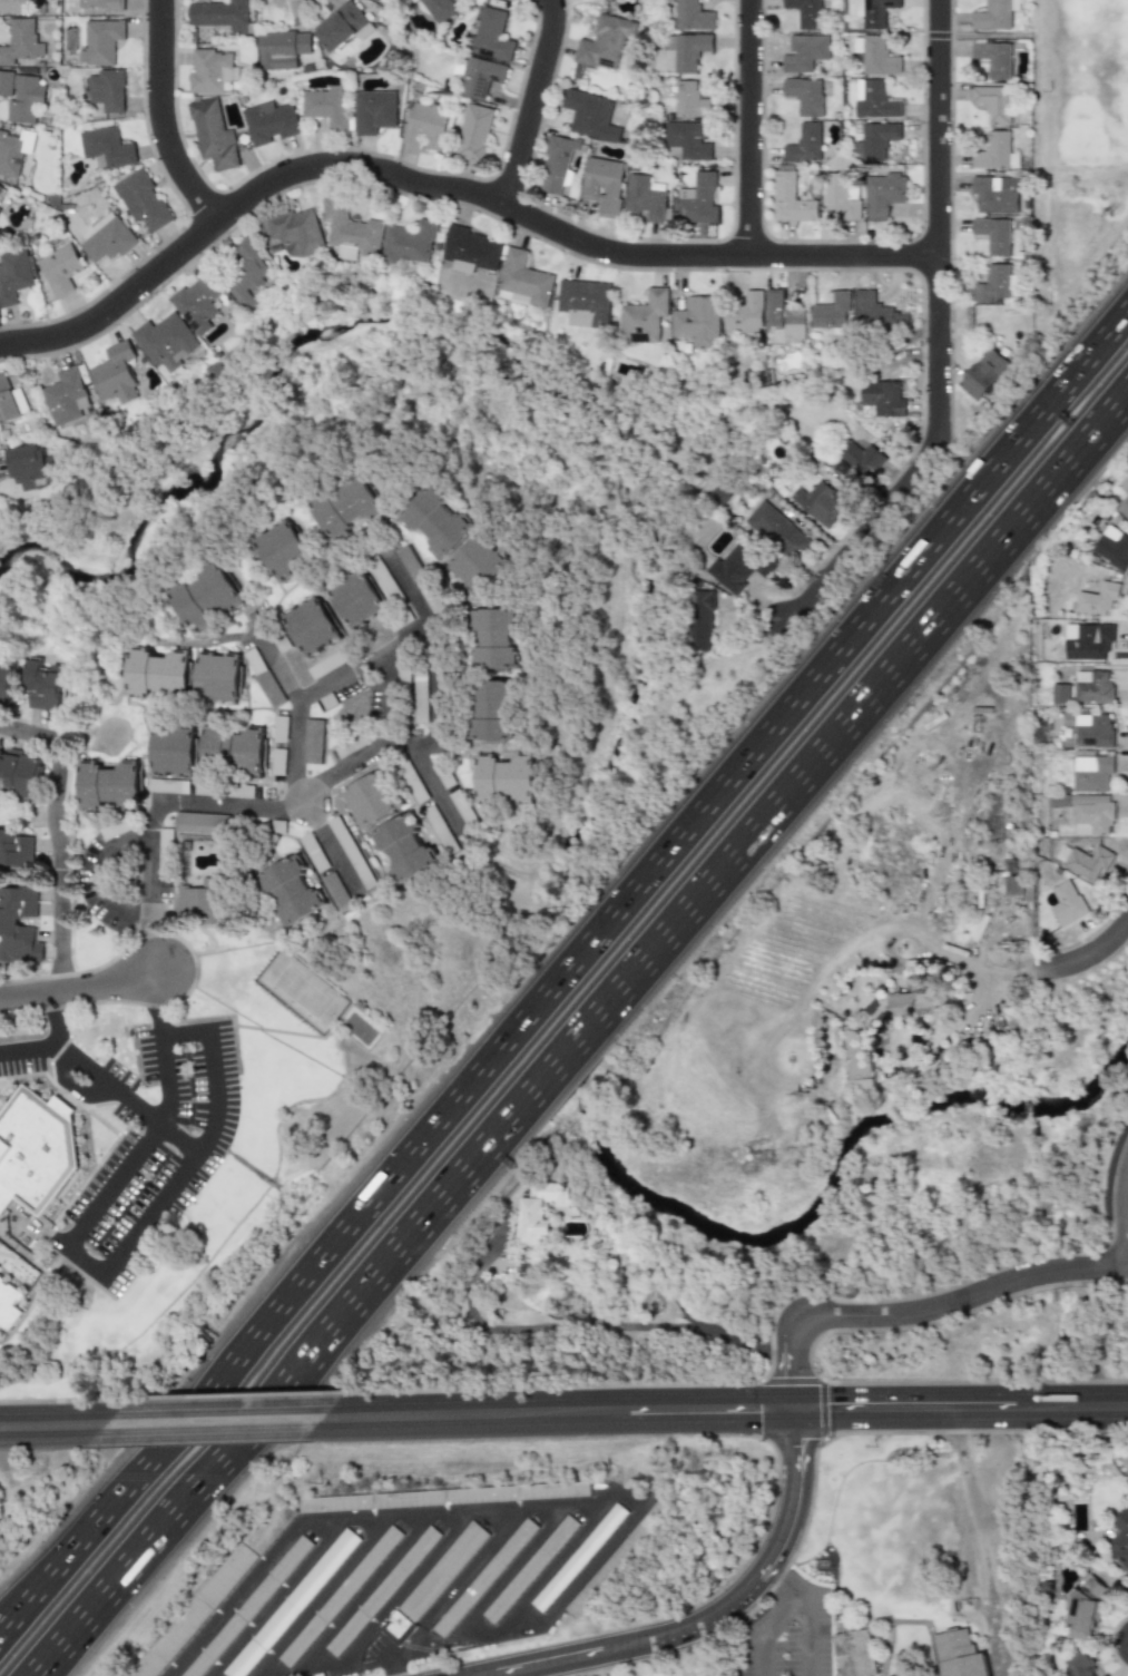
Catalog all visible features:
building: (373, 0)
building: (14, 6)
building: (100, 6)
building: (440, 9)
building: (877, 12)
building: (219, 13)
building: (806, 13)
building: (995, 13)
building: (691, 16)
building: (342, 26)
building: (490, 33)
building: (19, 40)
building: (100, 41)
building: (604, 41)
building: (282, 48)
building: (687, 51)
building: (805, 53)
building: (877, 56)
building: (993, 57)
park: (1091, 60)
building: (210, 70)
building: (480, 77)
building: (105, 89)
building: (20, 95)
building: (804, 95)
building: (687, 97)
building: (875, 100)
road: (534, 104)
building: (993, 104)
building: (326, 107)
building: (373, 110)
building: (590, 116)
road: (163, 117)
building: (271, 122)
building: (425, 125)
road: (753, 128)
building: (475, 133)
building: (213, 135)
building: (874, 139)
building: (685, 141)
building: (805, 143)
building: (107, 147)
building: (995, 151)
building: (12, 153)
building: (557, 163)
building: (604, 185)
building: (1, 189)
road: (444, 189)
building: (884, 194)
building: (994, 194)
building: (838, 198)
building: (143, 199)
building: (647, 199)
building: (698, 199)
building: (789, 199)
building: (351, 231)
building: (297, 232)
building: (992, 235)
building: (108, 238)
building: (411, 243)
building: (471, 249)
building: (60, 268)
building: (246, 274)
building: (14, 275)
building: (523, 281)
building: (994, 283)
building: (196, 303)
building: (583, 303)
building: (874, 311)
building: (784, 313)
building: (745, 315)
building: (831, 315)
building: (644, 317)
building: (697, 321)
road: (938, 340)
building: (165, 342)
building: (116, 374)
building: (982, 375)
building: (66, 396)
building: (881, 399)
building: (7, 401)
building: (855, 461)
building: (24, 462)
building: (818, 502)
building: (1124, 507)
building: (361, 511)
building: (448, 528)
building: (776, 530)
building: (1111, 548)
building: (292, 551)
building: (419, 563)
building: (738, 567)
building: (491, 569)
building: (390, 579)
building: (1096, 599)
building: (212, 600)
building: (365, 600)
building: (700, 620)
building: (317, 629)
building: (1086, 640)
building: (503, 644)
road: (435, 654)
road: (364, 659)
building: (325, 665)
building: (163, 676)
building: (262, 677)
building: (220, 678)
building: (6, 683)
building: (1091, 686)
building: (42, 687)
building: (1059, 693)
building: (422, 696)
road: (297, 708)
building: (501, 715)
building: (279, 729)
building: (1091, 731)
building: (313, 742)
building: (356, 743)
road: (383, 743)
road: (399, 746)
building: (178, 752)
building: (238, 755)
building: (1090, 773)
building: (19, 774)
building: (442, 777)
building: (410, 781)
building: (511, 782)
building: (167, 786)
road: (435, 787)
building: (114, 788)
building: (372, 801)
building: (462, 807)
road: (153, 815)
building: (1091, 816)
building: (199, 823)
building: (115, 829)
building: (438, 830)
road: (59, 839)
building: (165, 841)
road: (328, 844)
building: (17, 849)
building: (312, 852)
building: (351, 853)
building: (406, 853)
building: (1083, 861)
road: (96, 879)
building: (334, 891)
building: (295, 892)
road: (630, 893)
building: (207, 896)
building: (1066, 903)
building: (19, 923)
road: (1087, 957)
road: (968, 971)
road: (78, 988)
road: (158, 1006)
road: (56, 1018)
road: (585, 1037)
road: (29, 1046)
building: (857, 1046)
road: (69, 1086)
road: (128, 1098)
road: (204, 1146)
road: (140, 1150)
building: (35, 1158)
building: (538, 1211)
road: (1127, 1214)
road: (82, 1263)
building: (10, 1307)
road: (922, 1311)
traffic signals: (796, 1372)
traffic signals: (837, 1408)
road: (726, 1409)
traffic signals: (763, 1409)
road: (218, 1420)
road: (55, 1424)
traffic signals: (797, 1447)
building: (442, 1494)
road: (349, 1518)
road: (65, 1539)
road: (979, 1540)
building: (1119, 1540)
road: (66, 1556)
building: (578, 1556)
building: (618, 1556)
building: (530, 1568)
building: (485, 1576)
road: (786, 1576)
building: (435, 1578)
road: (454, 1586)
building: (382, 1587)
road: (404, 1587)
building: (340, 1592)
building: (213, 1594)
road: (355, 1595)
road: (321, 1596)
road: (485, 1596)
road: (272, 1597)
building: (292, 1601)
building: (247, 1605)
building: (1082, 1609)
road: (722, 1615)
road: (545, 1621)
road: (765, 1625)
road: (802, 1630)
parking lot: (787, 1636)
road: (399, 1646)
building: (853, 1652)
building: (959, 1654)
road: (351, 1662)
building: (1080, 1665)
building: (1102, 1675)

